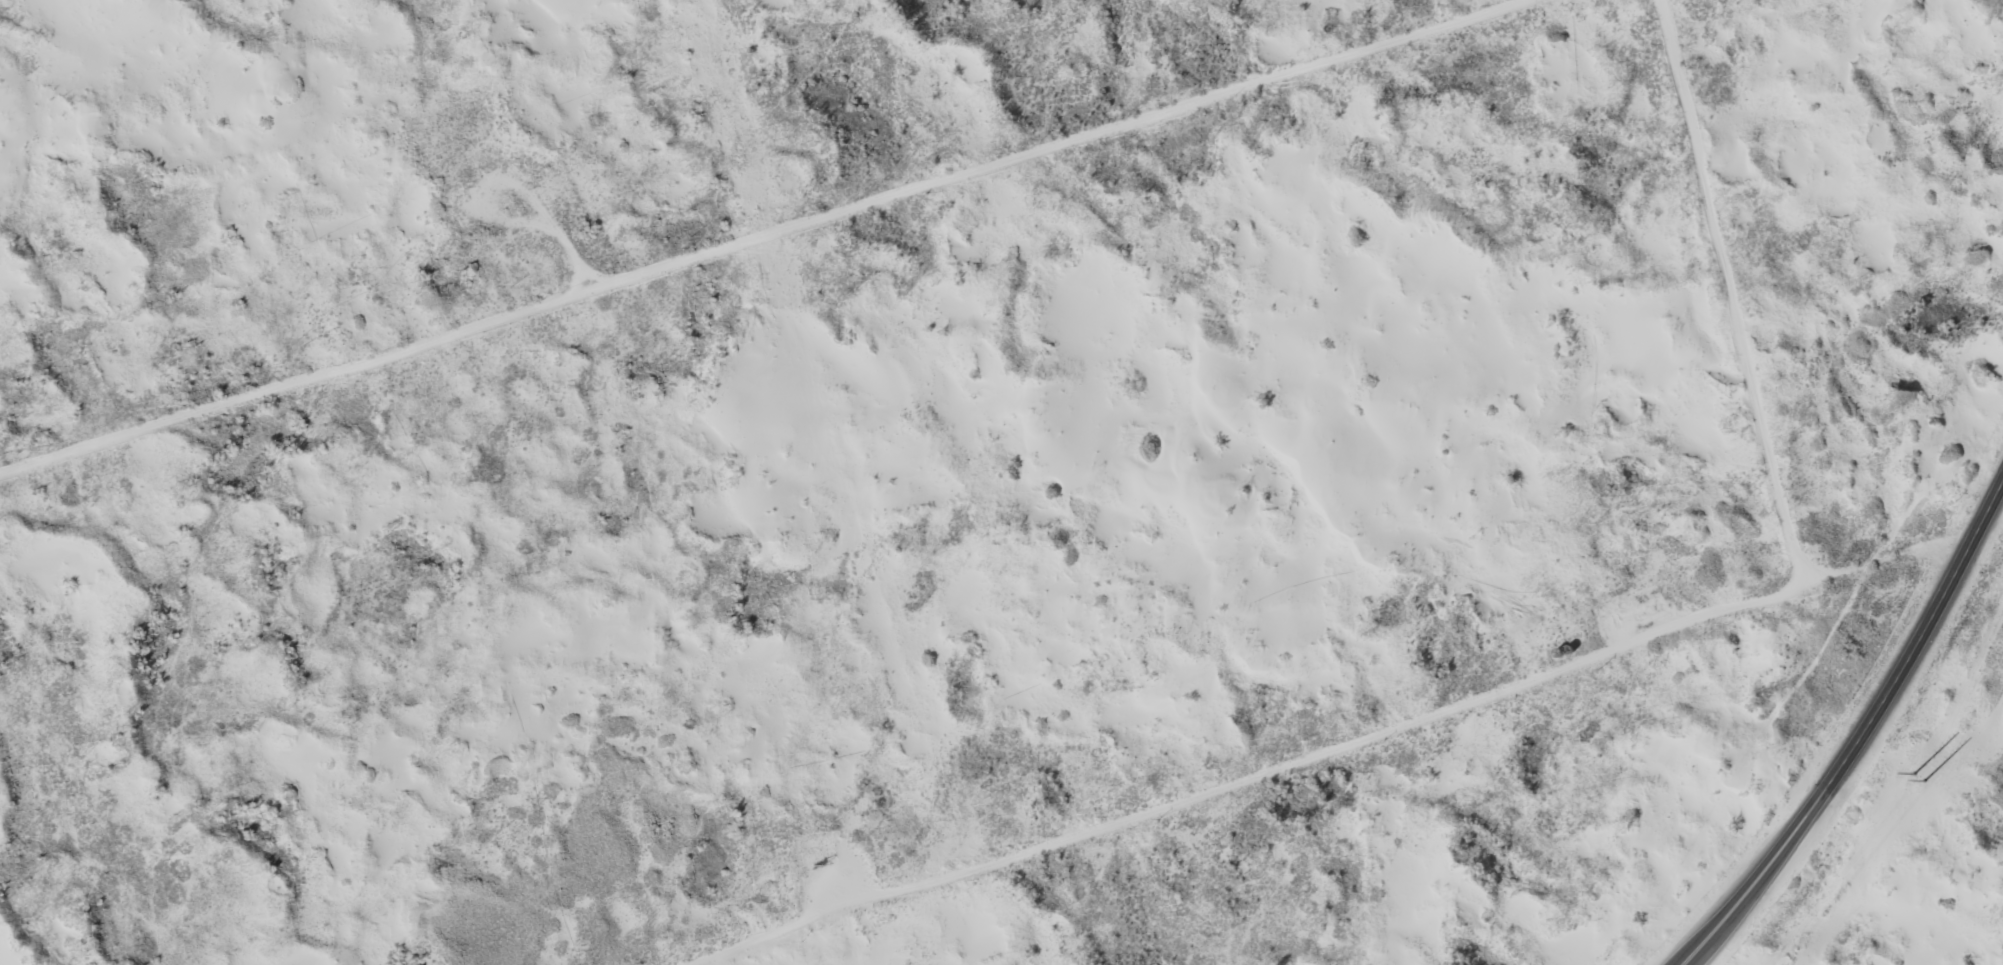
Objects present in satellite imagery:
road: (1864, 733)
power tower: (1938, 793)

